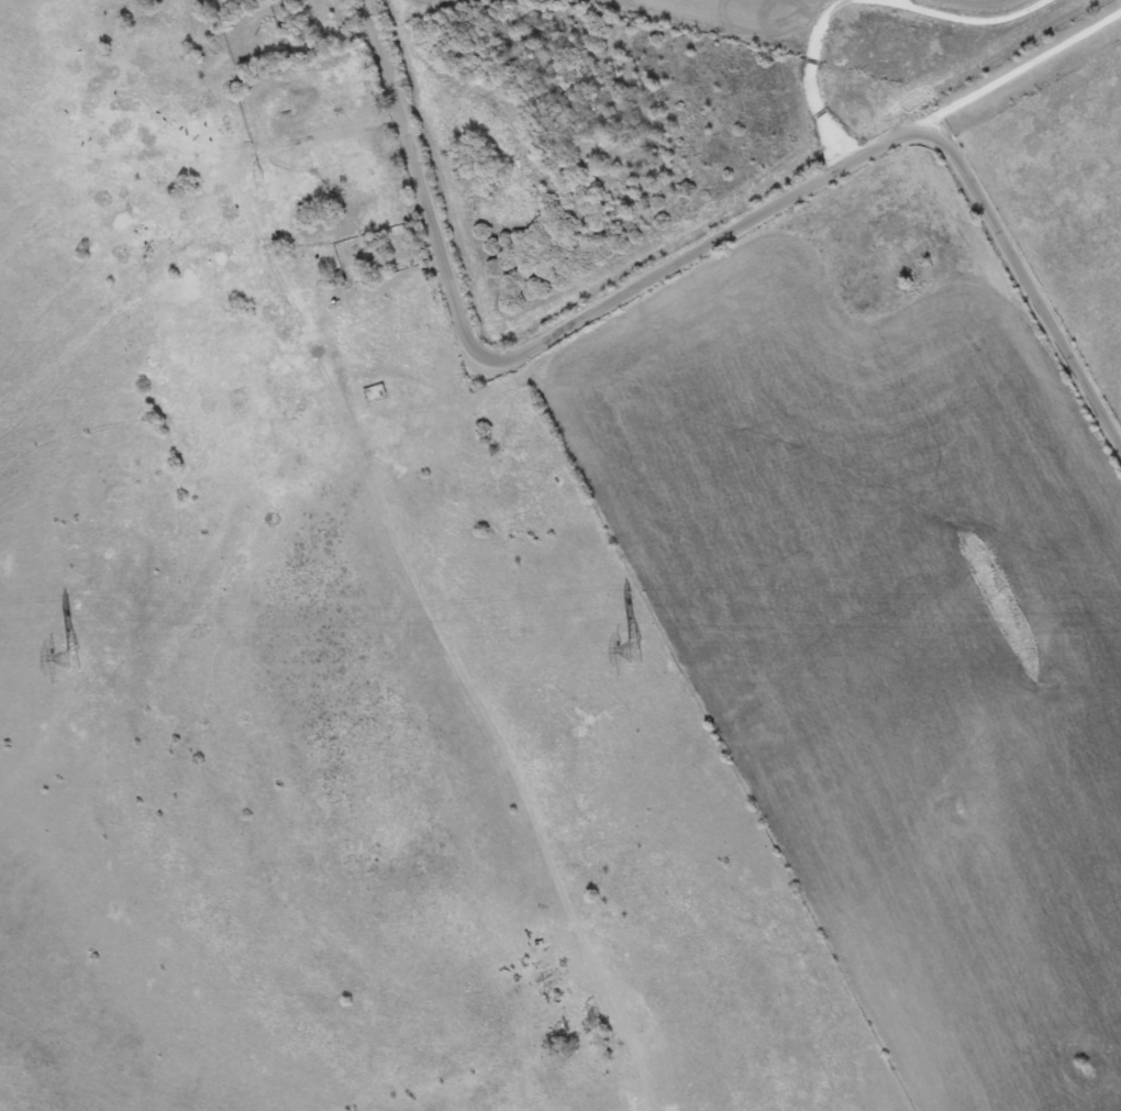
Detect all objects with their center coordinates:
road: (967, 16)
road: (811, 68)
road: (1005, 70)
road: (696, 255)
building: (336, 278)
building: (376, 392)
power tower: (637, 648)
power tower: (74, 659)

